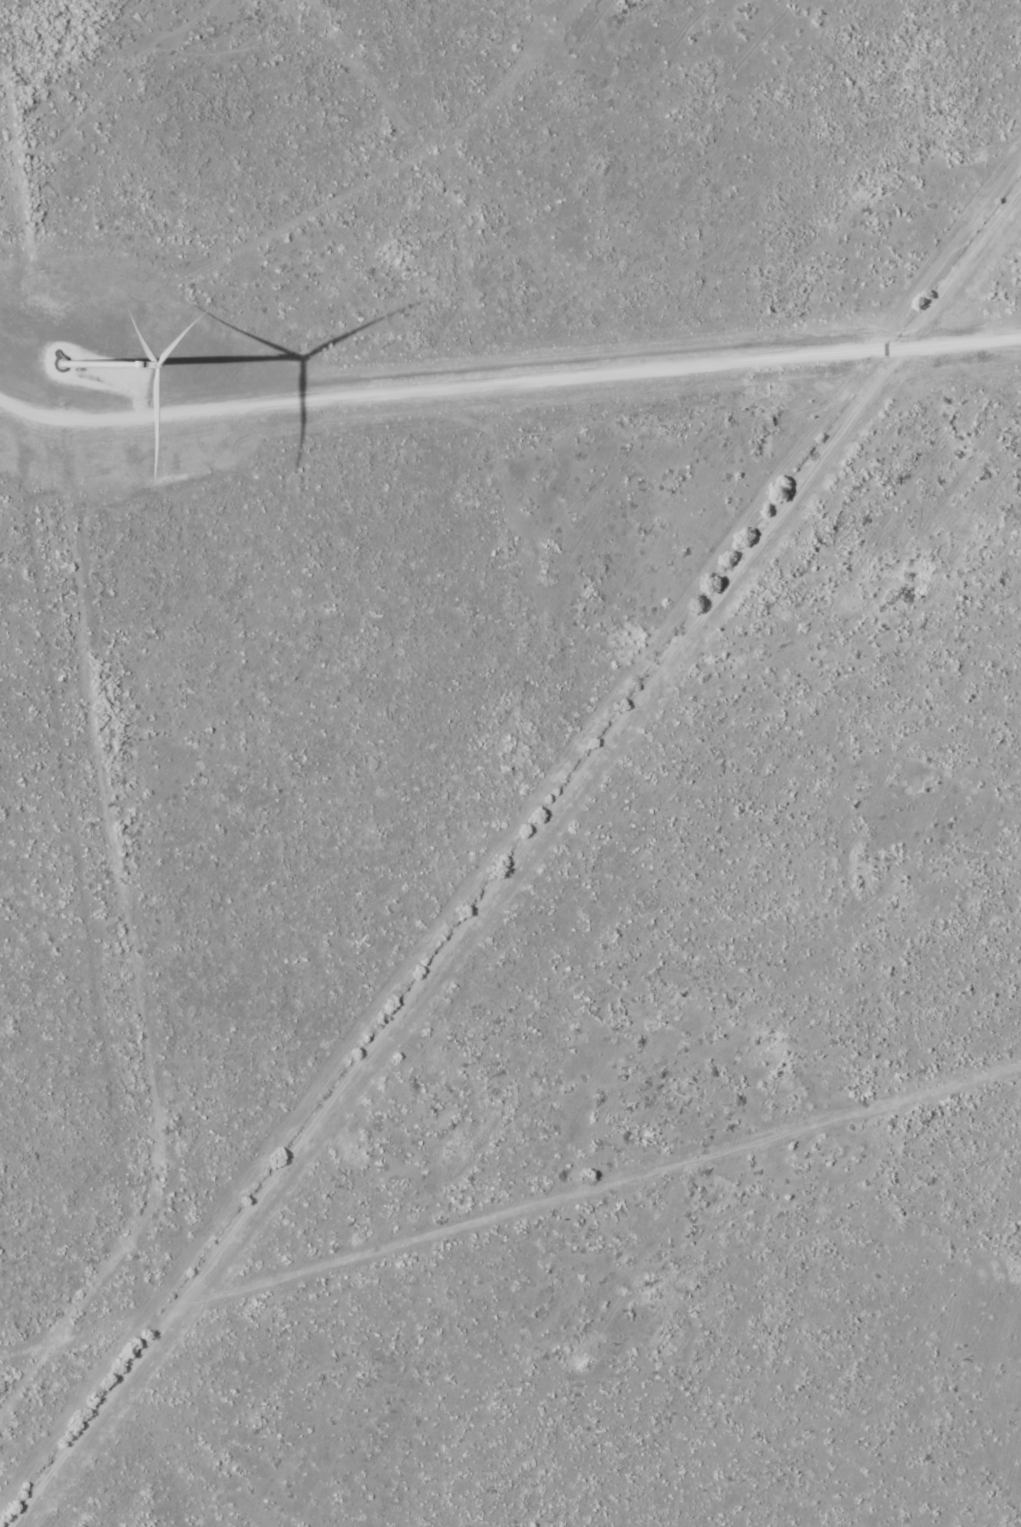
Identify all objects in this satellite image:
wind turbine: (54, 355)

